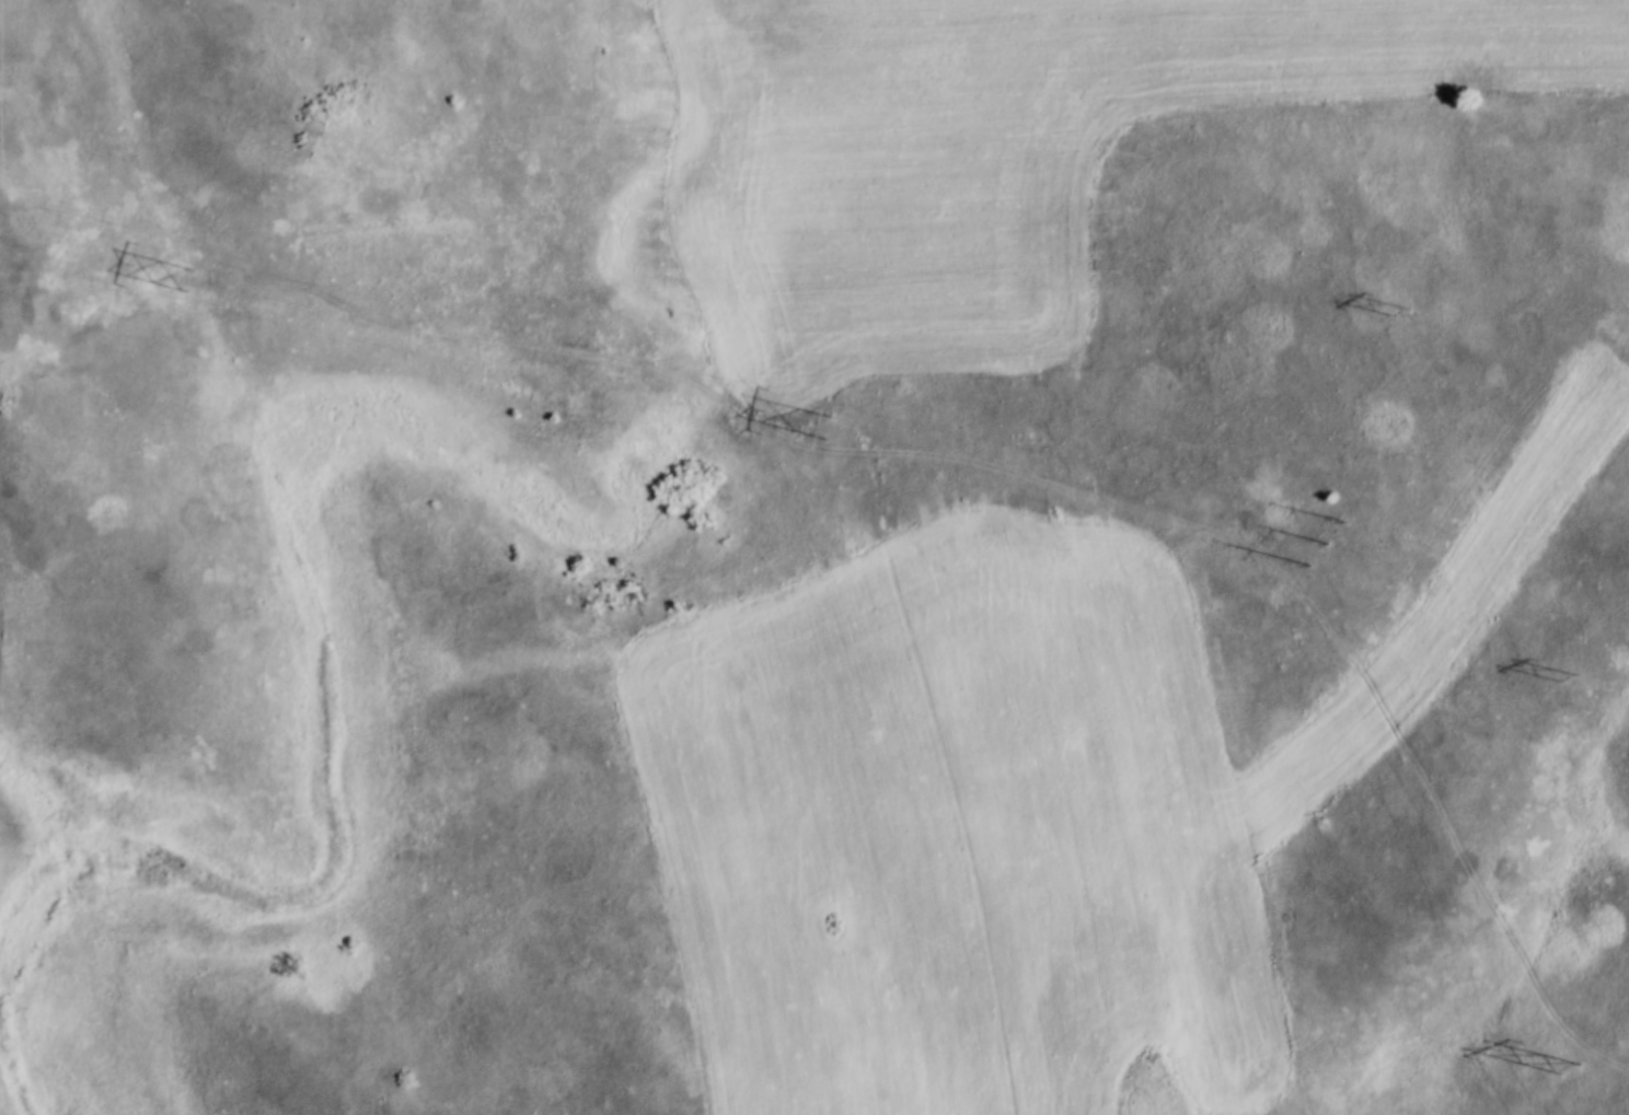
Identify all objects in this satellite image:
power tower: (1386, 321)
power tower: (1544, 682)

